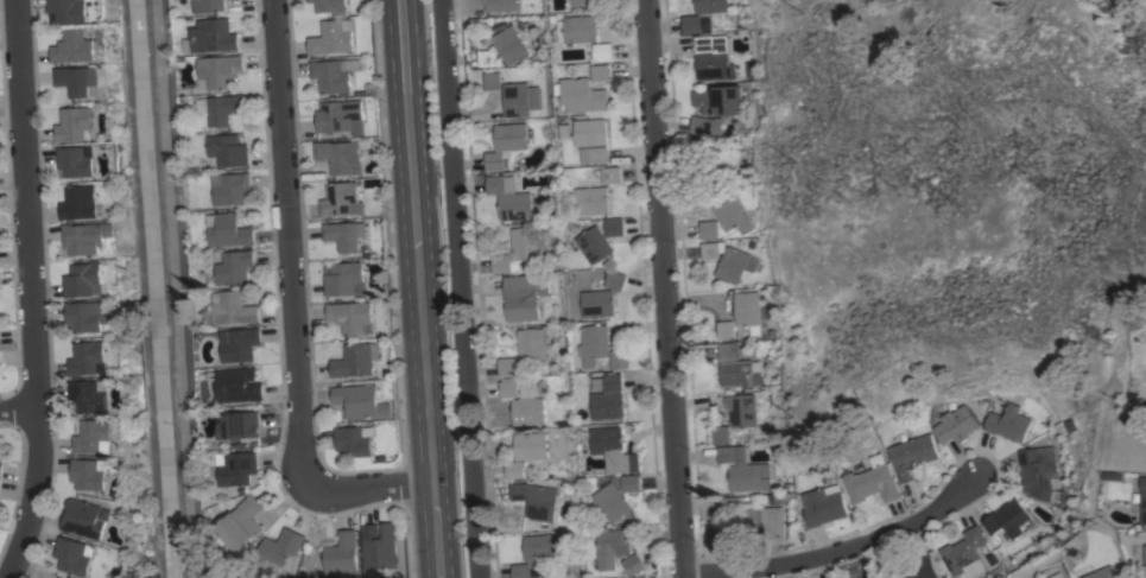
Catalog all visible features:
building: (578, 2)
building: (209, 5)
building: (500, 5)
building: (330, 6)
building: (709, 6)
building: (69, 9)
building: (691, 24)
building: (577, 28)
building: (213, 36)
building: (331, 37)
building: (509, 45)
building: (74, 47)
building: (603, 52)
building: (713, 57)
building: (487, 58)
building: (219, 70)
building: (601, 72)
building: (334, 75)
building: (77, 80)
building: (492, 81)
building: (582, 95)
building: (519, 99)
building: (718, 100)
building: (224, 108)
building: (337, 115)
building: (75, 125)
building: (705, 125)
building: (590, 132)
building: (511, 136)
building: (703, 147)
building: (227, 151)
building: (594, 154)
building: (340, 155)
building: (77, 160)
building: (495, 160)
building: (726, 163)
building: (612, 174)
building: (232, 188)
building: (508, 198)
building: (341, 199)
building: (591, 201)
building: (80, 202)
building: (730, 212)
building: (614, 227)
building: (708, 229)
building: (229, 230)
building: (344, 234)
road: (290, 235)
building: (87, 237)
building: (526, 243)
building: (595, 244)
building: (709, 250)
building: (501, 263)
building: (734, 265)
building: (235, 267)
building: (342, 278)
building: (83, 279)
building: (615, 280)
road: (419, 288)
road: (460, 288)
road: (661, 288)
road: (36, 291)
building: (524, 297)
building: (599, 303)
building: (233, 307)
building: (747, 311)
building: (87, 316)
building: (350, 316)
building: (724, 330)
building: (240, 343)
building: (531, 344)
building: (594, 344)
building: (727, 351)
building: (0, 358)
building: (89, 358)
building: (620, 358)
building: (353, 360)
building: (507, 367)
building: (740, 374)
building: (238, 385)
building: (89, 395)
building: (608, 396)
building: (360, 401)
building: (524, 402)
building: (746, 409)
road: (21, 413)
building: (1007, 423)
building: (241, 424)
building: (956, 425)
building: (721, 434)
building: (94, 436)
building: (354, 440)
building: (530, 445)
building: (613, 449)
building: (912, 455)
building: (1, 466)
building: (238, 466)
building: (1036, 468)
building: (514, 469)
building: (743, 470)
building: (90, 474)
building: (631, 482)
building: (872, 482)
road: (365, 485)
building: (1142, 498)
building: (534, 500)
building: (613, 501)
building: (729, 506)
building: (824, 506)
building: (87, 517)
building: (1006, 519)
building: (242, 523)
building: (761, 523)
building: (379, 546)
building: (613, 546)
building: (281, 547)
building: (539, 547)
road: (836, 551)
building: (341, 552)
building: (965, 553)
building: (74, 555)
building: (634, 564)
building: (1142, 566)
building: (912, 569)
building: (521, 571)
building: (1103, 572)
building: (870, 574)
building: (1057, 576)
building: (61, 577)

